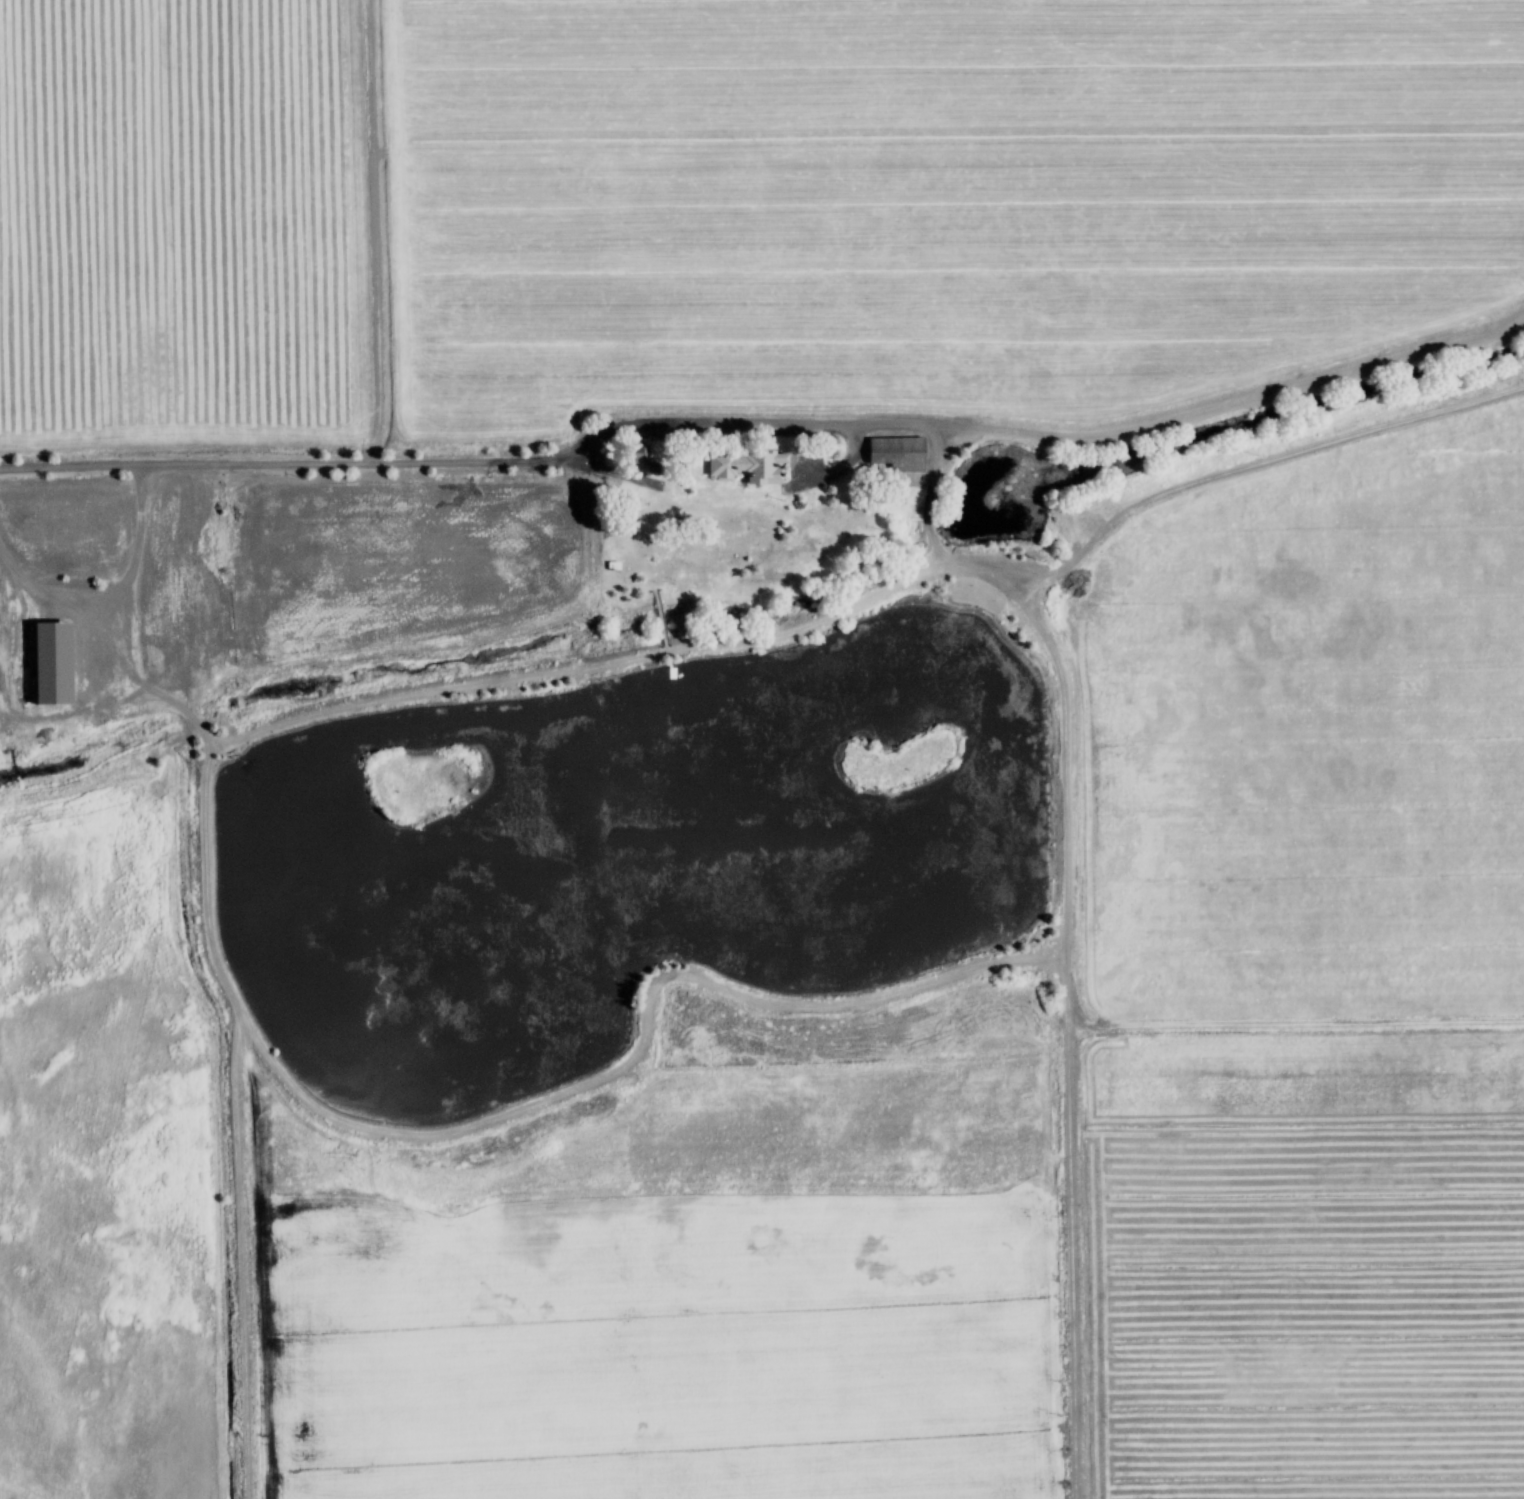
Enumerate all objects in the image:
crop: (942, 201)
crop: (191, 223)
building: (644, 450)
building: (907, 454)
road: (547, 461)
building: (760, 465)
road: (1249, 471)
crop: (424, 558)
building: (626, 565)
road: (68, 596)
building: (62, 661)
road: (586, 668)
crop: (1317, 741)
road: (1078, 995)
road: (395, 1134)
crop: (114, 1147)
road: (244, 1251)
crop: (863, 1253)
crop: (1313, 1263)
crop: (442, 1308)

